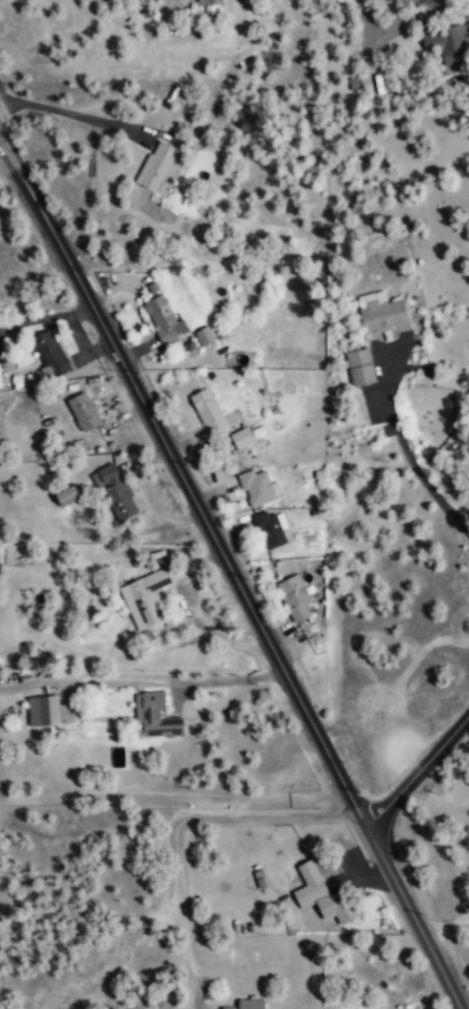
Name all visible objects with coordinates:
building: (209, 2)
building: (448, 43)
building: (355, 81)
building: (156, 165)
building: (381, 315)
building: (164, 319)
building: (204, 336)
building: (51, 356)
building: (361, 367)
building: (0, 382)
building: (84, 411)
building: (209, 411)
building: (242, 437)
road: (184, 482)
building: (258, 487)
building: (117, 491)
building: (67, 495)
building: (271, 528)
building: (294, 597)
building: (145, 599)
building: (43, 711)
building: (155, 717)
road: (417, 771)
building: (322, 892)
road: (413, 918)
building: (248, 1004)

